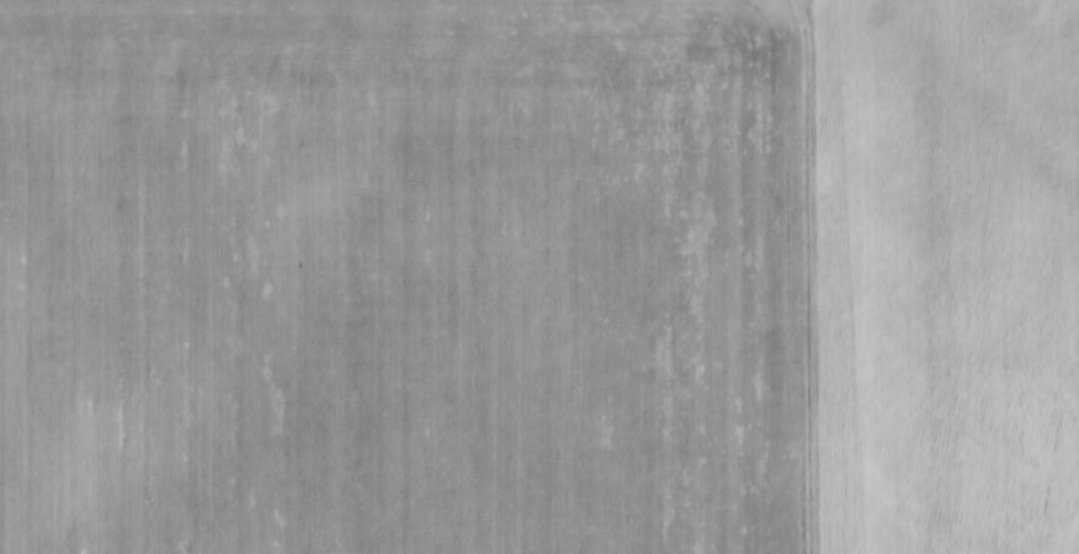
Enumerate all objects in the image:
road: (812, 276)

